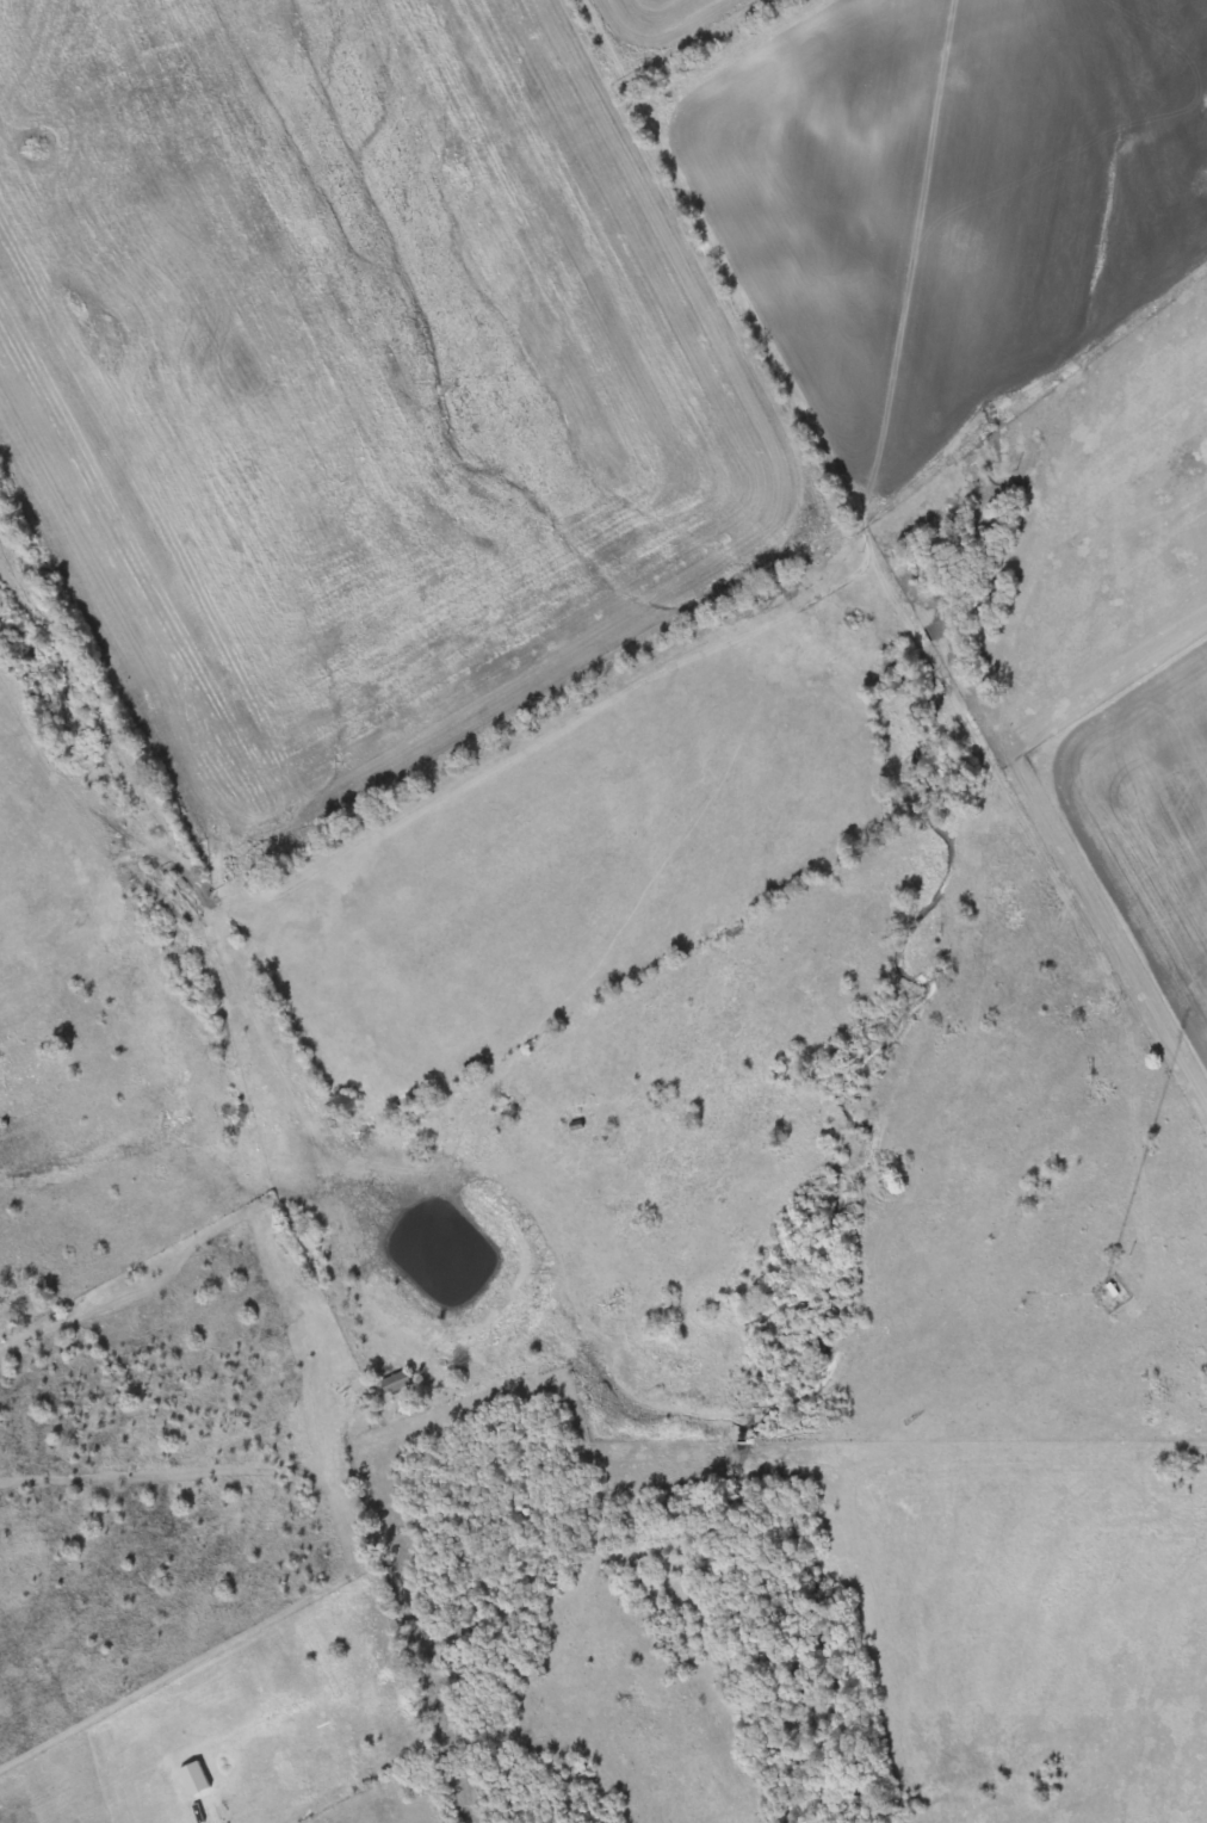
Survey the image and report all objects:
building: (400, 1380)

